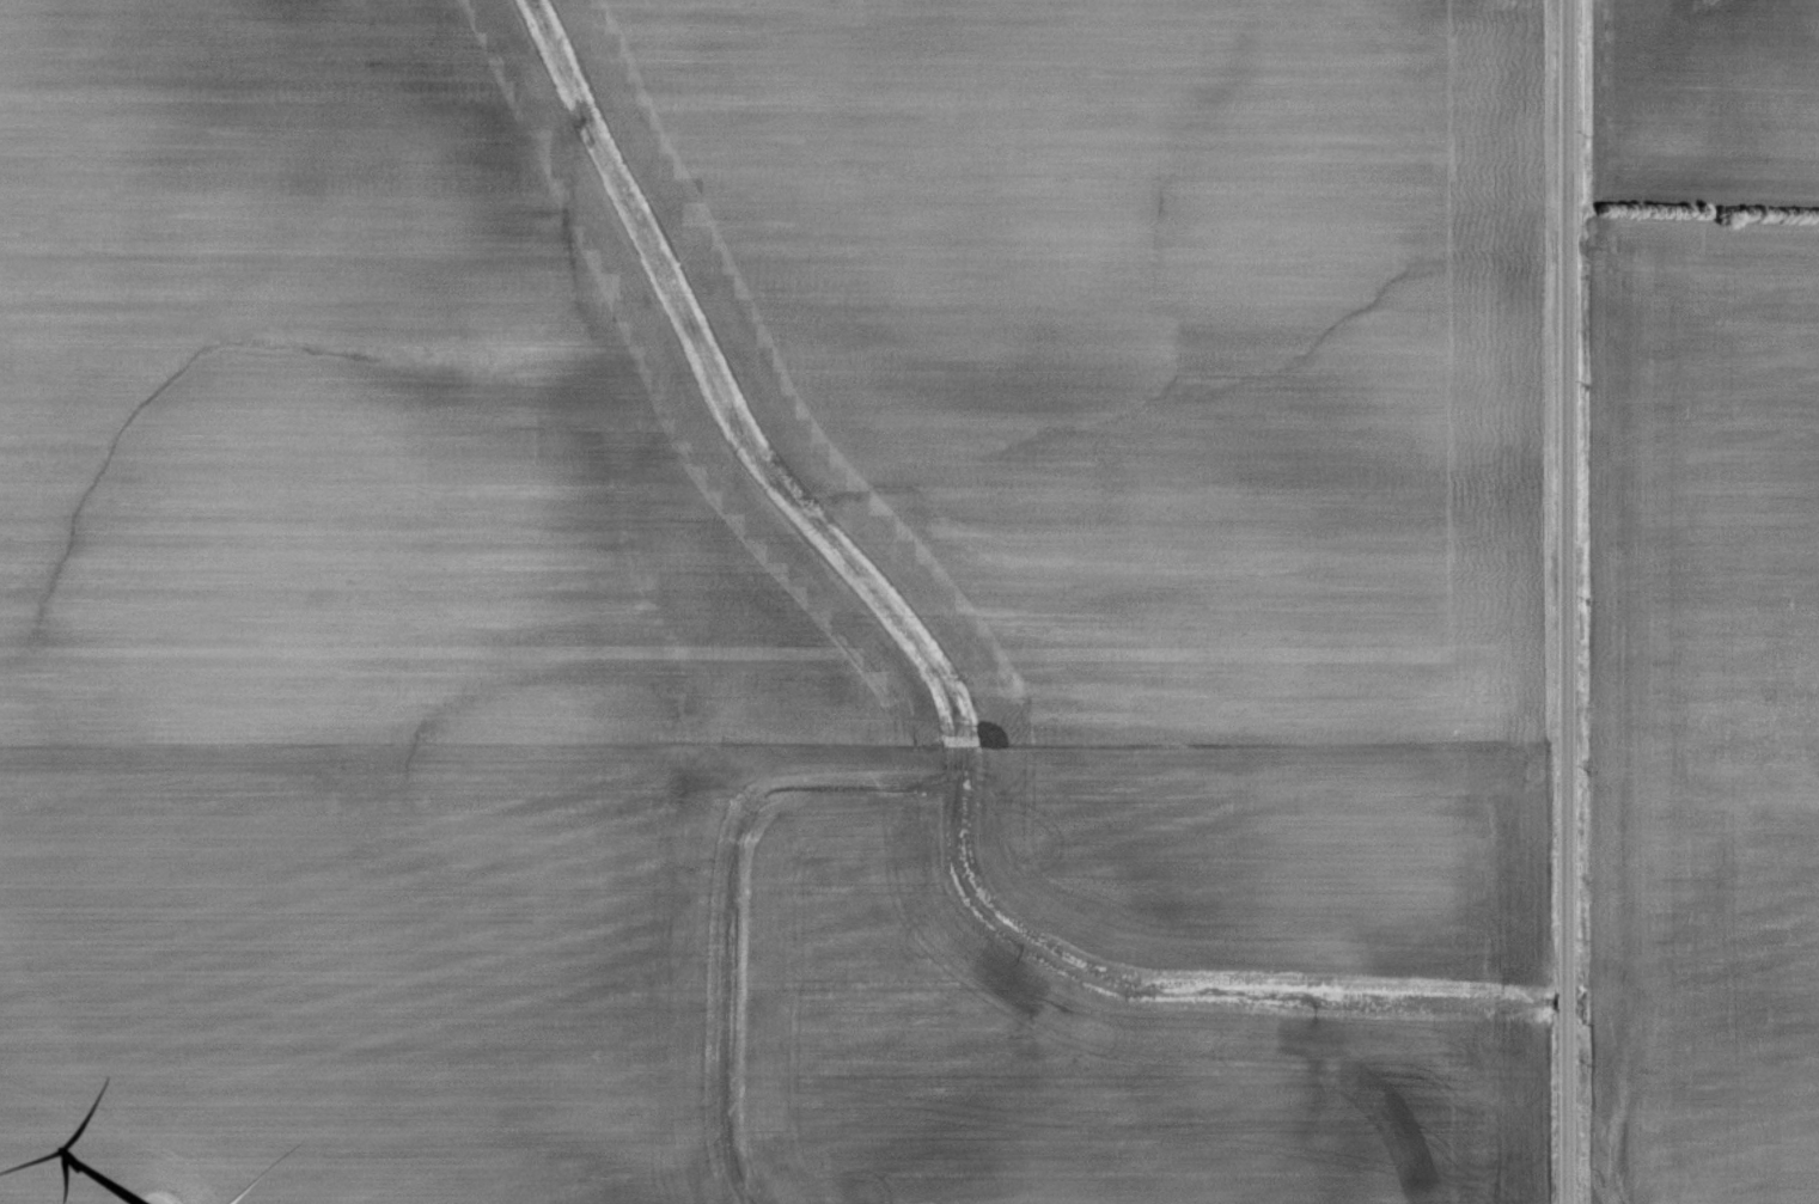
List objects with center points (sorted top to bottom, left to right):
road: (1564, 601)

